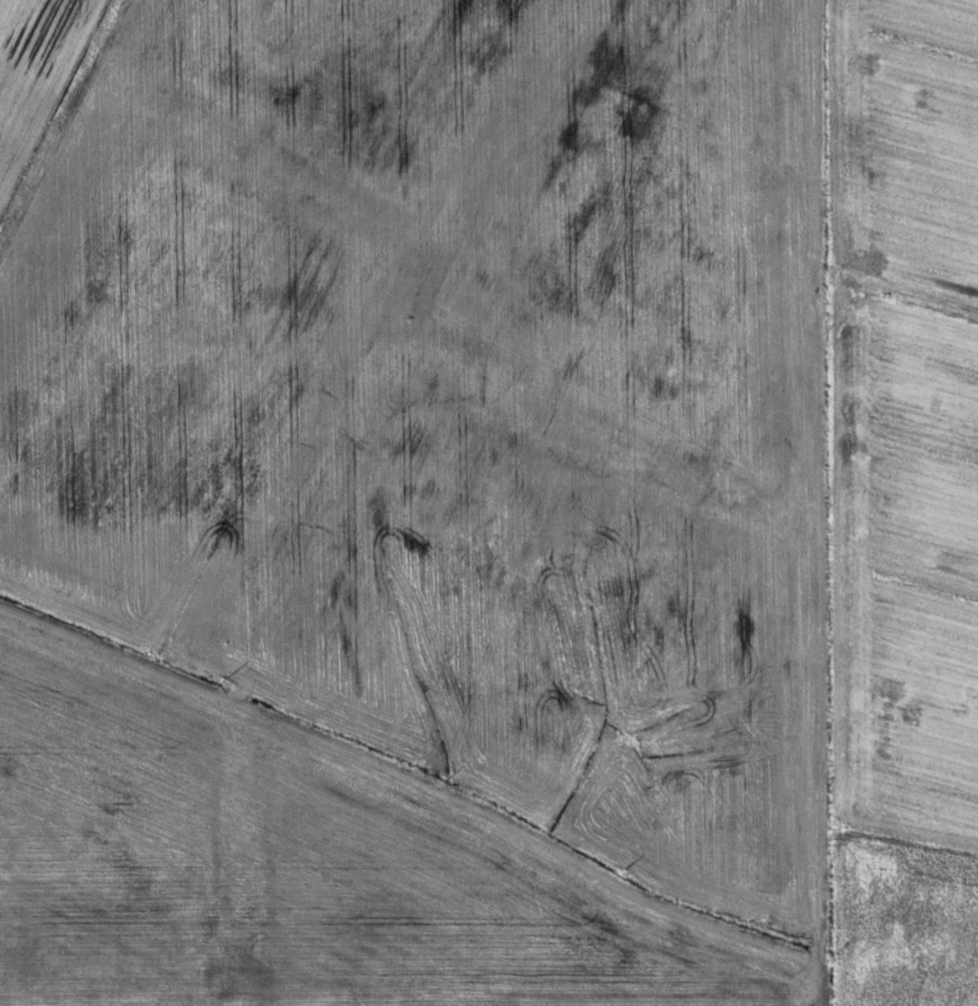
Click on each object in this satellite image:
road: (809, 503)

